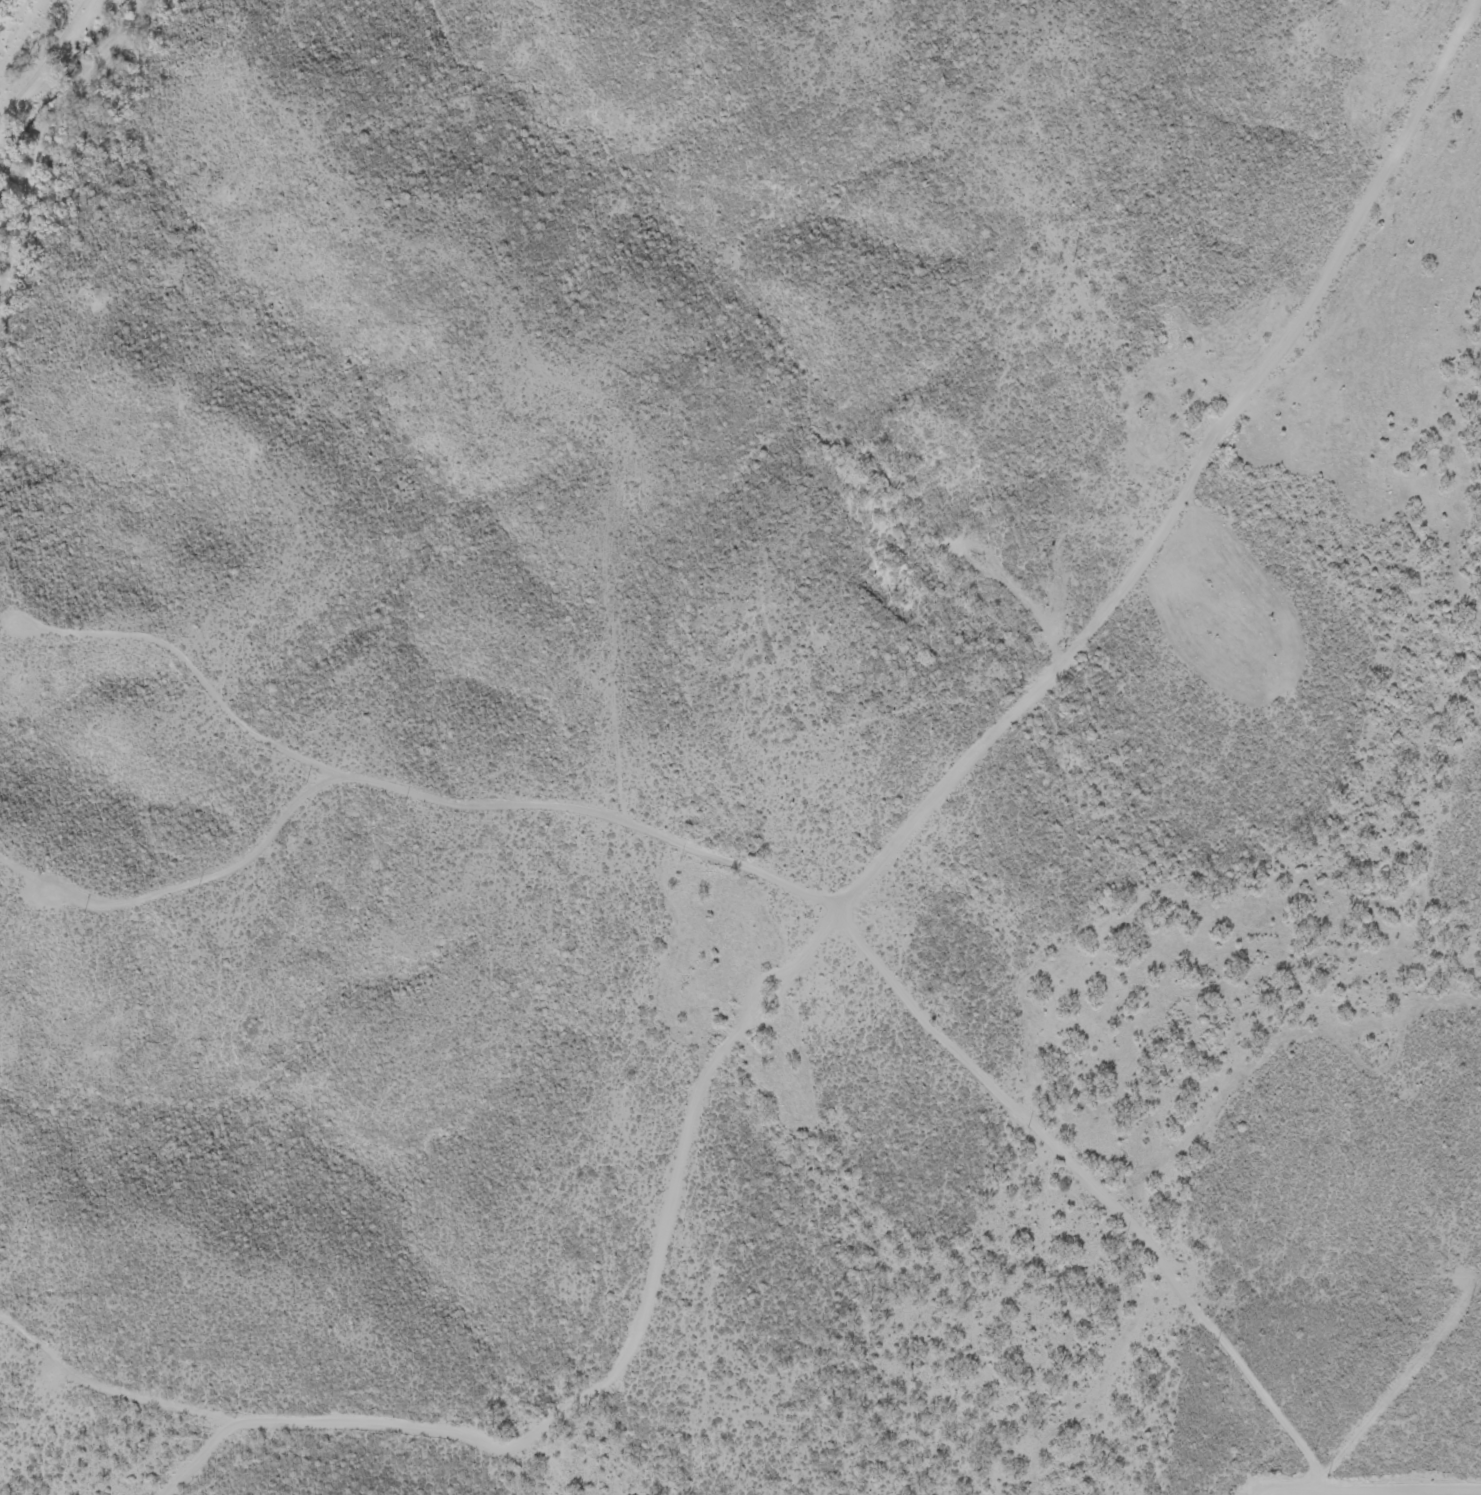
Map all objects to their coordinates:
road: (587, 423)
road: (1198, 476)
road: (426, 798)
road: (693, 1139)

